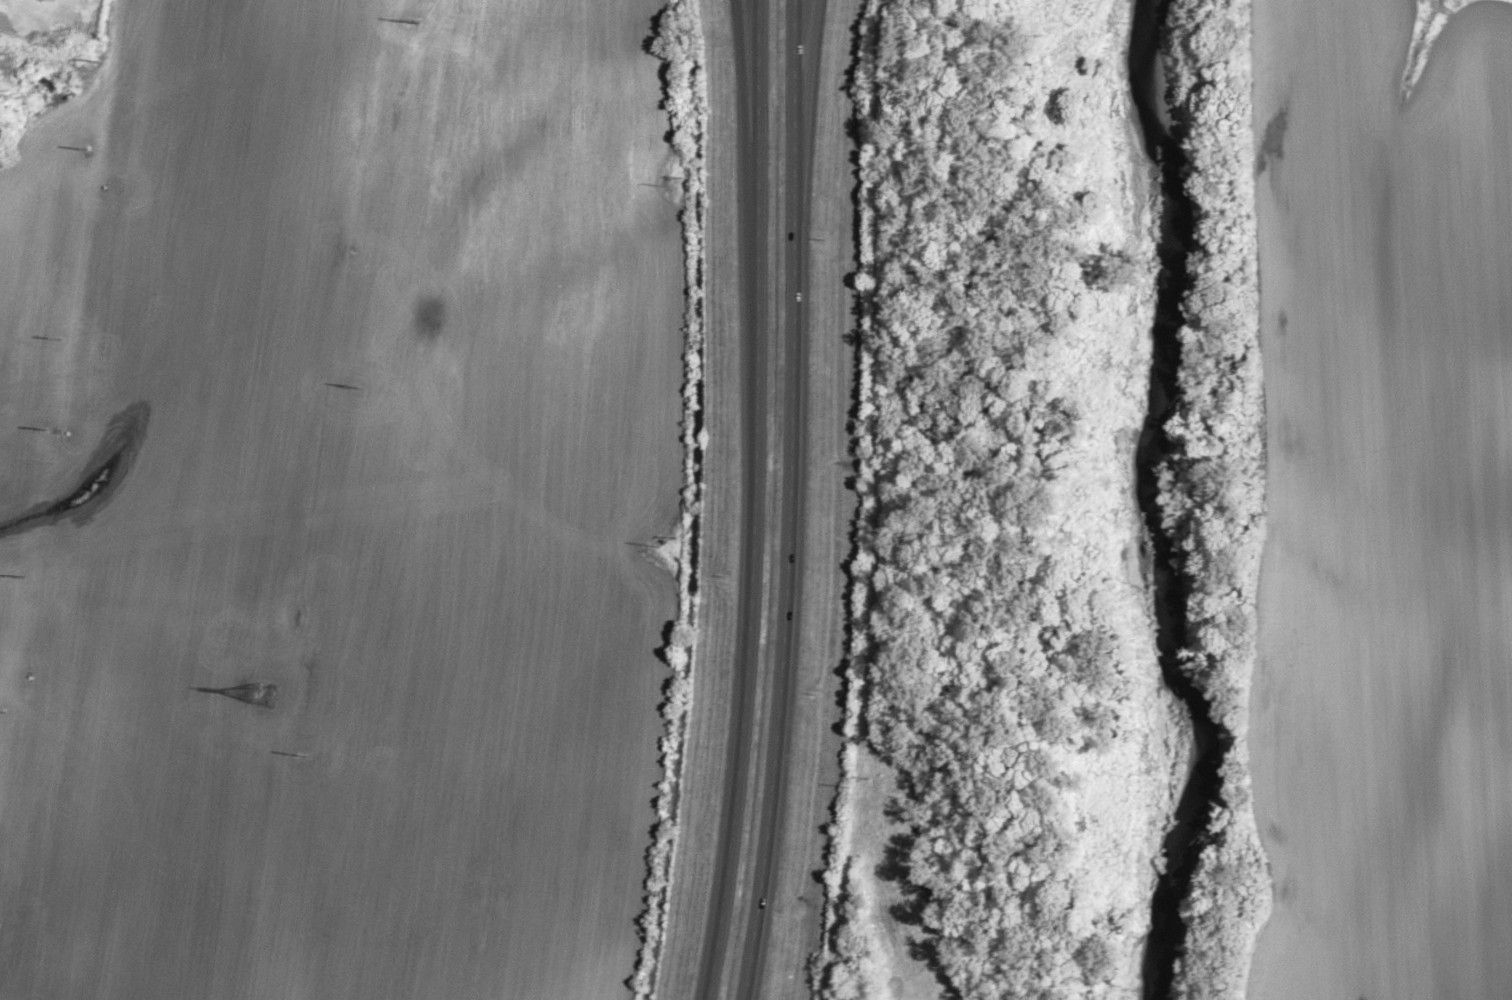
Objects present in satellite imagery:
power tower: (414, 22)
road: (803, 100)
road: (793, 101)
road: (744, 127)
road: (756, 127)
power tower: (359, 389)
river: (1153, 506)
road: (788, 602)
road: (752, 628)
power tower: (262, 695)
power tower: (304, 757)

